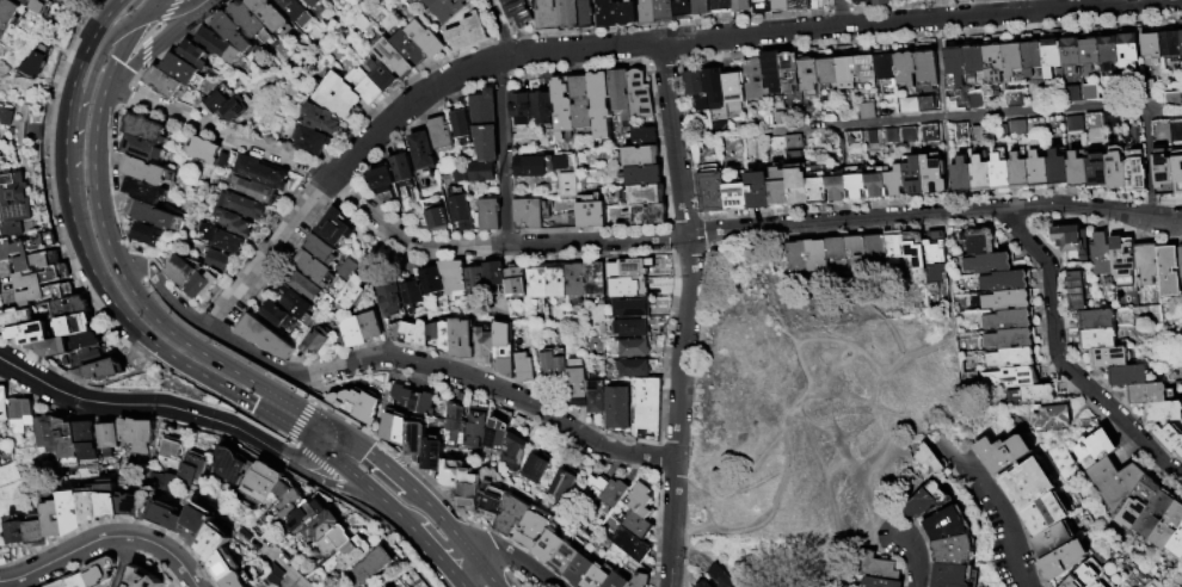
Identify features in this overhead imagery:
building: (56, 1)
building: (63, 1)
building: (314, 2)
building: (430, 2)
building: (861, 2)
building: (881, 2)
building: (799, 5)
road: (909, 5)
building: (36, 6)
building: (721, 6)
building: (740, 6)
building: (761, 6)
building: (781, 6)
road: (149, 7)
building: (701, 7)
road: (174, 8)
building: (447, 8)
building: (10, 11)
building: (296, 11)
building: (646, 11)
building: (665, 11)
building: (517, 12)
building: (585, 13)
building: (615, 13)
road: (838, 13)
building: (271, 14)
building: (570, 16)
building: (547, 17)
building: (247, 18)
building: (5, 29)
building: (230, 31)
building: (466, 32)
building: (424, 38)
road: (640, 42)
building: (1169, 42)
building: (1180, 42)
building: (1150, 44)
road: (156, 45)
building: (216, 45)
building: (406, 48)
road: (119, 50)
building: (1107, 51)
building: (1127, 51)
building: (1070, 52)
building: (1089, 52)
building: (195, 55)
building: (1030, 56)
building: (1049, 56)
building: (389, 57)
building: (1010, 57)
road: (81, 58)
building: (36, 60)
building: (972, 61)
building: (992, 62)
road: (97, 64)
building: (884, 64)
building: (954, 64)
building: (924, 66)
building: (787, 67)
building: (864, 67)
building: (904, 67)
building: (825, 68)
building: (181, 69)
building: (769, 69)
building: (844, 70)
building: (377, 72)
building: (806, 72)
building: (751, 78)
building: (166, 82)
building: (362, 82)
building: (1145, 85)
building: (712, 86)
building: (731, 86)
building: (692, 88)
traffic signals: (105, 89)
building: (1089, 91)
building: (617, 92)
building: (1070, 92)
road: (21, 93)
building: (638, 94)
building: (335, 95)
building: (1171, 95)
building: (217, 99)
building: (1014, 99)
building: (579, 100)
building: (974, 100)
building: (924, 103)
building: (538, 104)
building: (559, 104)
building: (598, 104)
building: (906, 104)
building: (517, 106)
building: (234, 107)
building: (866, 109)
road: (955, 116)
building: (7, 117)
building: (1108, 117)
building: (319, 118)
building: (1091, 118)
road: (501, 122)
building: (1071, 122)
building: (482, 124)
building: (460, 125)
building: (1034, 125)
building: (1015, 126)
building: (144, 129)
building: (959, 130)
building: (1001, 130)
building: (437, 131)
building: (928, 131)
building: (978, 132)
building: (906, 134)
building: (888, 135)
building: (642, 136)
building: (870, 136)
road: (672, 138)
building: (309, 140)
building: (141, 149)
building: (201, 149)
building: (420, 154)
building: (639, 155)
road: (64, 160)
building: (536, 163)
building: (1055, 167)
road: (1149, 167)
building: (793, 168)
building: (1036, 168)
building: (1075, 168)
building: (1095, 169)
building: (1113, 169)
building: (1017, 171)
building: (147, 172)
building: (399, 172)
building: (473, 172)
building: (998, 172)
building: (260, 173)
building: (979, 173)
building: (1134, 173)
building: (642, 174)
building: (930, 174)
building: (960, 174)
building: (911, 175)
building: (1177, 177)
building: (892, 178)
building: (380, 180)
building: (1163, 180)
building: (814, 181)
building: (873, 183)
building: (565, 184)
building: (776, 185)
building: (854, 185)
building: (708, 186)
building: (833, 186)
building: (755, 189)
building: (143, 190)
building: (252, 191)
building: (645, 193)
building: (733, 194)
building: (16, 198)
building: (238, 204)
road: (1091, 206)
building: (457, 211)
building: (527, 211)
building: (647, 212)
building: (485, 214)
building: (590, 214)
building: (152, 215)
building: (435, 218)
road: (383, 221)
road: (842, 221)
building: (233, 223)
building: (332, 227)
building: (146, 234)
building: (221, 239)
building: (978, 240)
building: (1070, 240)
building: (912, 242)
building: (893, 243)
building: (874, 245)
building: (855, 247)
building: (835, 248)
building: (318, 249)
building: (11, 253)
building: (1181, 254)
building: (815, 255)
building: (1102, 255)
building: (796, 257)
building: (1125, 257)
building: (215, 259)
building: (934, 259)
building: (989, 262)
road: (364, 265)
building: (1149, 265)
building: (309, 266)
building: (627, 267)
building: (179, 270)
building: (491, 272)
building: (1170, 273)
building: (450, 274)
building: (473, 278)
building: (592, 278)
building: (511, 279)
building: (554, 279)
building: (1006, 279)
building: (430, 280)
building: (534, 280)
building: (573, 283)
building: (199, 284)
building: (297, 284)
building: (626, 286)
building: (60, 288)
building: (350, 289)
road: (162, 290)
building: (410, 290)
building: (1078, 292)
building: (0, 293)
building: (388, 296)
road: (827, 297)
building: (1008, 299)
building: (290, 302)
building: (629, 305)
road: (144, 307)
building: (72, 308)
building: (271, 314)
building: (17, 319)
building: (1010, 320)
building: (1097, 321)
building: (369, 323)
building: (75, 326)
building: (629, 327)
building: (350, 330)
building: (414, 332)
building: (30, 334)
building: (439, 334)
building: (263, 336)
building: (460, 338)
building: (313, 339)
building: (1010, 339)
building: (1098, 340)
building: (86, 341)
road: (841, 342)
building: (480, 345)
building: (500, 345)
building: (630, 347)
building: (51, 348)
road: (162, 351)
road: (1071, 356)
road: (1059, 357)
building: (1012, 358)
building: (1112, 358)
building: (88, 359)
building: (523, 366)
building: (546, 366)
building: (630, 366)
building: (105, 371)
road: (444, 371)
building: (558, 371)
building: (1010, 377)
building: (1129, 377)
building: (575, 385)
road: (872, 388)
building: (1032, 395)
building: (1149, 395)
building: (411, 397)
building: (595, 398)
road: (141, 403)
building: (356, 403)
building: (645, 403)
park: (806, 406)
building: (4, 407)
building: (615, 407)
road: (884, 409)
road: (676, 412)
building: (453, 413)
traffic signals: (199, 414)
building: (1164, 414)
building: (21, 415)
building: (1052, 416)
building: (473, 424)
building: (393, 426)
building: (129, 431)
traffic signals: (339, 431)
building: (45, 433)
building: (412, 433)
building: (493, 433)
building: (109, 437)
building: (146, 437)
road: (350, 438)
building: (1170, 439)
road: (332, 440)
building: (86, 443)
building: (66, 444)
building: (510, 447)
building: (1094, 449)
traffic signals: (326, 451)
building: (1002, 452)
building: (173, 453)
building: (429, 453)
building: (924, 455)
building: (235, 463)
road: (304, 463)
building: (532, 465)
building: (196, 469)
building: (932, 469)
road: (390, 470)
road: (786, 471)
building: (457, 481)
building: (1114, 481)
building: (559, 482)
road: (738, 482)
building: (1026, 482)
building: (167, 483)
building: (261, 483)
road: (339, 487)
building: (284, 488)
building: (589, 488)
road: (370, 490)
building: (610, 492)
road: (831, 493)
building: (639, 499)
building: (488, 500)
road: (872, 500)
building: (926, 500)
road: (337, 501)
building: (1135, 502)
building: (291, 505)
building: (112, 507)
building: (133, 507)
building: (92, 508)
road: (703, 508)
road: (1014, 508)
road: (368, 512)
building: (73, 513)
building: (308, 513)
building: (1044, 513)
building: (1151, 514)
building: (510, 515)
road: (1003, 515)
building: (170, 517)
building: (55, 520)
building: (202, 524)
road: (447, 524)
building: (634, 524)
building: (325, 525)
building: (947, 525)
building: (1165, 526)
building: (529, 529)
building: (37, 531)
building: (17, 532)
road: (687, 535)
road: (105, 540)
building: (337, 542)
building: (1175, 542)
building: (217, 543)
building: (629, 544)
building: (546, 545)
building: (954, 550)
building: (1057, 550)
road: (433, 552)
building: (353, 556)
road: (918, 556)
building: (561, 557)
road: (516, 558)
road: (123, 562)
road: (278, 562)
road: (462, 564)
building: (376, 566)
building: (227, 567)
building: (879, 567)
building: (577, 569)
road: (485, 570)
building: (101, 571)
building: (1084, 574)
building: (950, 575)
building: (593, 576)
park: (1170, 576)
building: (720, 577)
building: (142, 579)
road: (456, 580)
building: (614, 580)
building: (638, 580)
building: (78, 581)
building: (240, 581)
building: (881, 582)
building: (1101, 582)
building: (59, 585)
building: (703, 585)
building: (387, 586)

